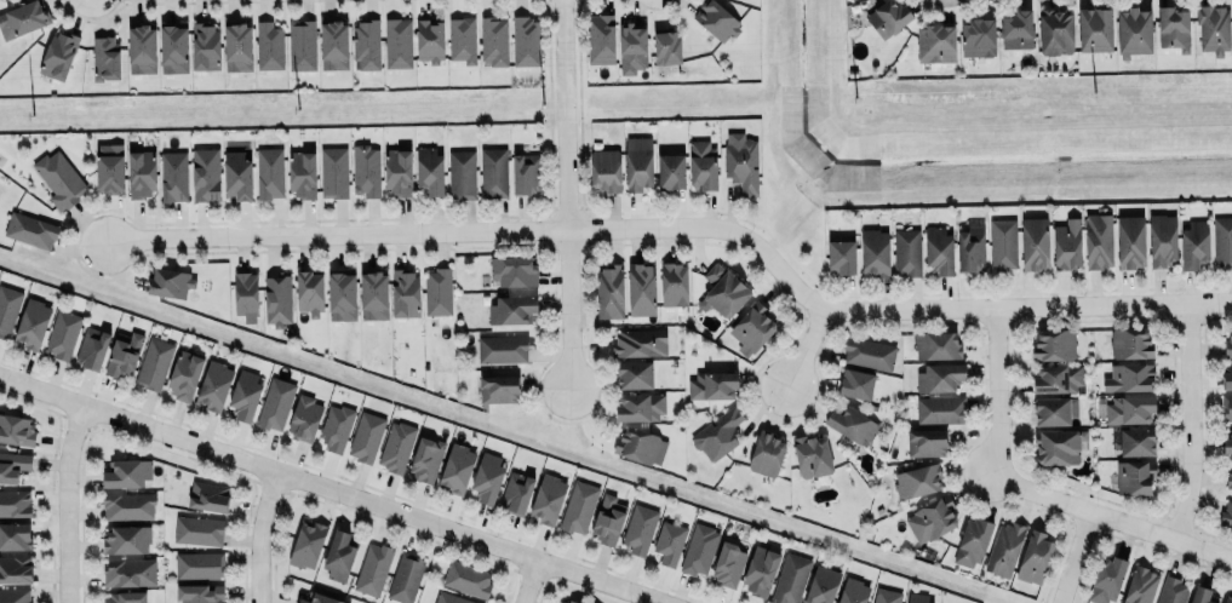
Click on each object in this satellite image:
building: (888, 17)
building: (22, 18)
building: (717, 19)
building: (1015, 27)
building: (1173, 27)
building: (1213, 28)
building: (1094, 29)
building: (1135, 30)
building: (1055, 31)
building: (601, 38)
building: (976, 38)
building: (429, 39)
building: (462, 39)
building: (493, 40)
building: (525, 40)
building: (396, 41)
building: (236, 42)
building: (366, 42)
building: (935, 42)
building: (204, 45)
building: (269, 45)
building: (300, 45)
building: (333, 45)
building: (172, 47)
building: (631, 47)
building: (666, 47)
building: (141, 48)
building: (59, 53)
building: (104, 57)
building: (638, 162)
building: (701, 163)
building: (743, 163)
building: (109, 167)
building: (604, 168)
building: (365, 170)
building: (429, 170)
building: (397, 171)
building: (671, 171)
building: (141, 172)
building: (269, 172)
building: (300, 172)
building: (333, 172)
building: (493, 172)
building: (205, 173)
building: (525, 173)
building: (237, 174)
building: (460, 174)
building: (173, 176)
building: (59, 178)
road: (567, 197)
building: (30, 229)
road: (481, 230)
building: (1162, 239)
building: (1098, 240)
building: (1130, 241)
building: (1221, 241)
building: (1033, 242)
building: (1002, 243)
building: (1066, 243)
building: (1194, 243)
building: (970, 247)
building: (904, 248)
building: (938, 248)
building: (875, 252)
building: (841, 257)
building: (512, 269)
building: (168, 281)
building: (674, 283)
building: (641, 288)
building: (724, 289)
building: (309, 291)
building: (437, 291)
building: (609, 291)
building: (340, 293)
building: (405, 293)
building: (245, 294)
building: (373, 294)
building: (276, 299)
road: (1028, 305)
building: (7, 308)
building: (512, 308)
building: (33, 322)
building: (752, 328)
building: (63, 333)
building: (640, 343)
building: (1129, 343)
building: (1054, 344)
building: (1227, 344)
building: (935, 345)
building: (93, 346)
building: (502, 349)
road: (809, 349)
building: (867, 352)
building: (122, 355)
building: (153, 363)
building: (183, 374)
building: (634, 374)
building: (1226, 374)
building: (938, 377)
building: (1128, 377)
building: (1056, 378)
building: (856, 380)
building: (213, 384)
building: (711, 384)
building: (498, 389)
road: (1001, 392)
building: (243, 394)
building: (275, 403)
building: (1226, 406)
building: (640, 407)
building: (940, 408)
building: (1129, 409)
building: (1050, 410)
building: (303, 417)
road: (1192, 421)
building: (852, 424)
building: (334, 427)
building: (16, 429)
building: (717, 435)
building: (366, 436)
building: (1136, 441)
building: (926, 442)
building: (1227, 443)
building: (636, 444)
building: (395, 446)
building: (1058, 446)
building: (767, 453)
building: (812, 455)
building: (426, 459)
building: (13, 465)
building: (455, 466)
building: (127, 472)
building: (1228, 473)
building: (1134, 476)
building: (487, 477)
building: (917, 481)
road: (332, 488)
building: (516, 492)
building: (210, 494)
building: (546, 499)
road: (68, 501)
building: (15, 502)
building: (128, 505)
building: (578, 506)
building: (1226, 513)
building: (932, 517)
road: (1118, 518)
building: (608, 519)
building: (638, 528)
building: (200, 529)
building: (15, 535)
road: (262, 535)
building: (127, 538)
building: (669, 541)
building: (972, 541)
building: (306, 544)
building: (1003, 546)
building: (699, 549)
building: (338, 556)
building: (1033, 556)
road: (1077, 556)
building: (728, 563)
building: (199, 564)
building: (16, 568)
building: (372, 568)
building: (130, 570)
building: (760, 570)
building: (405, 578)
building: (466, 578)
building: (790, 578)
building: (1106, 579)
road: (532, 581)
building: (1139, 584)
building: (821, 586)
building: (1171, 590)
building: (853, 591)
building: (199, 593)
building: (1201, 593)
building: (15, 596)
building: (884, 596)
building: (126, 597)
building: (451, 597)
building: (918, 597)
building: (317, 598)
building: (1227, 599)
building: (572, 602)

